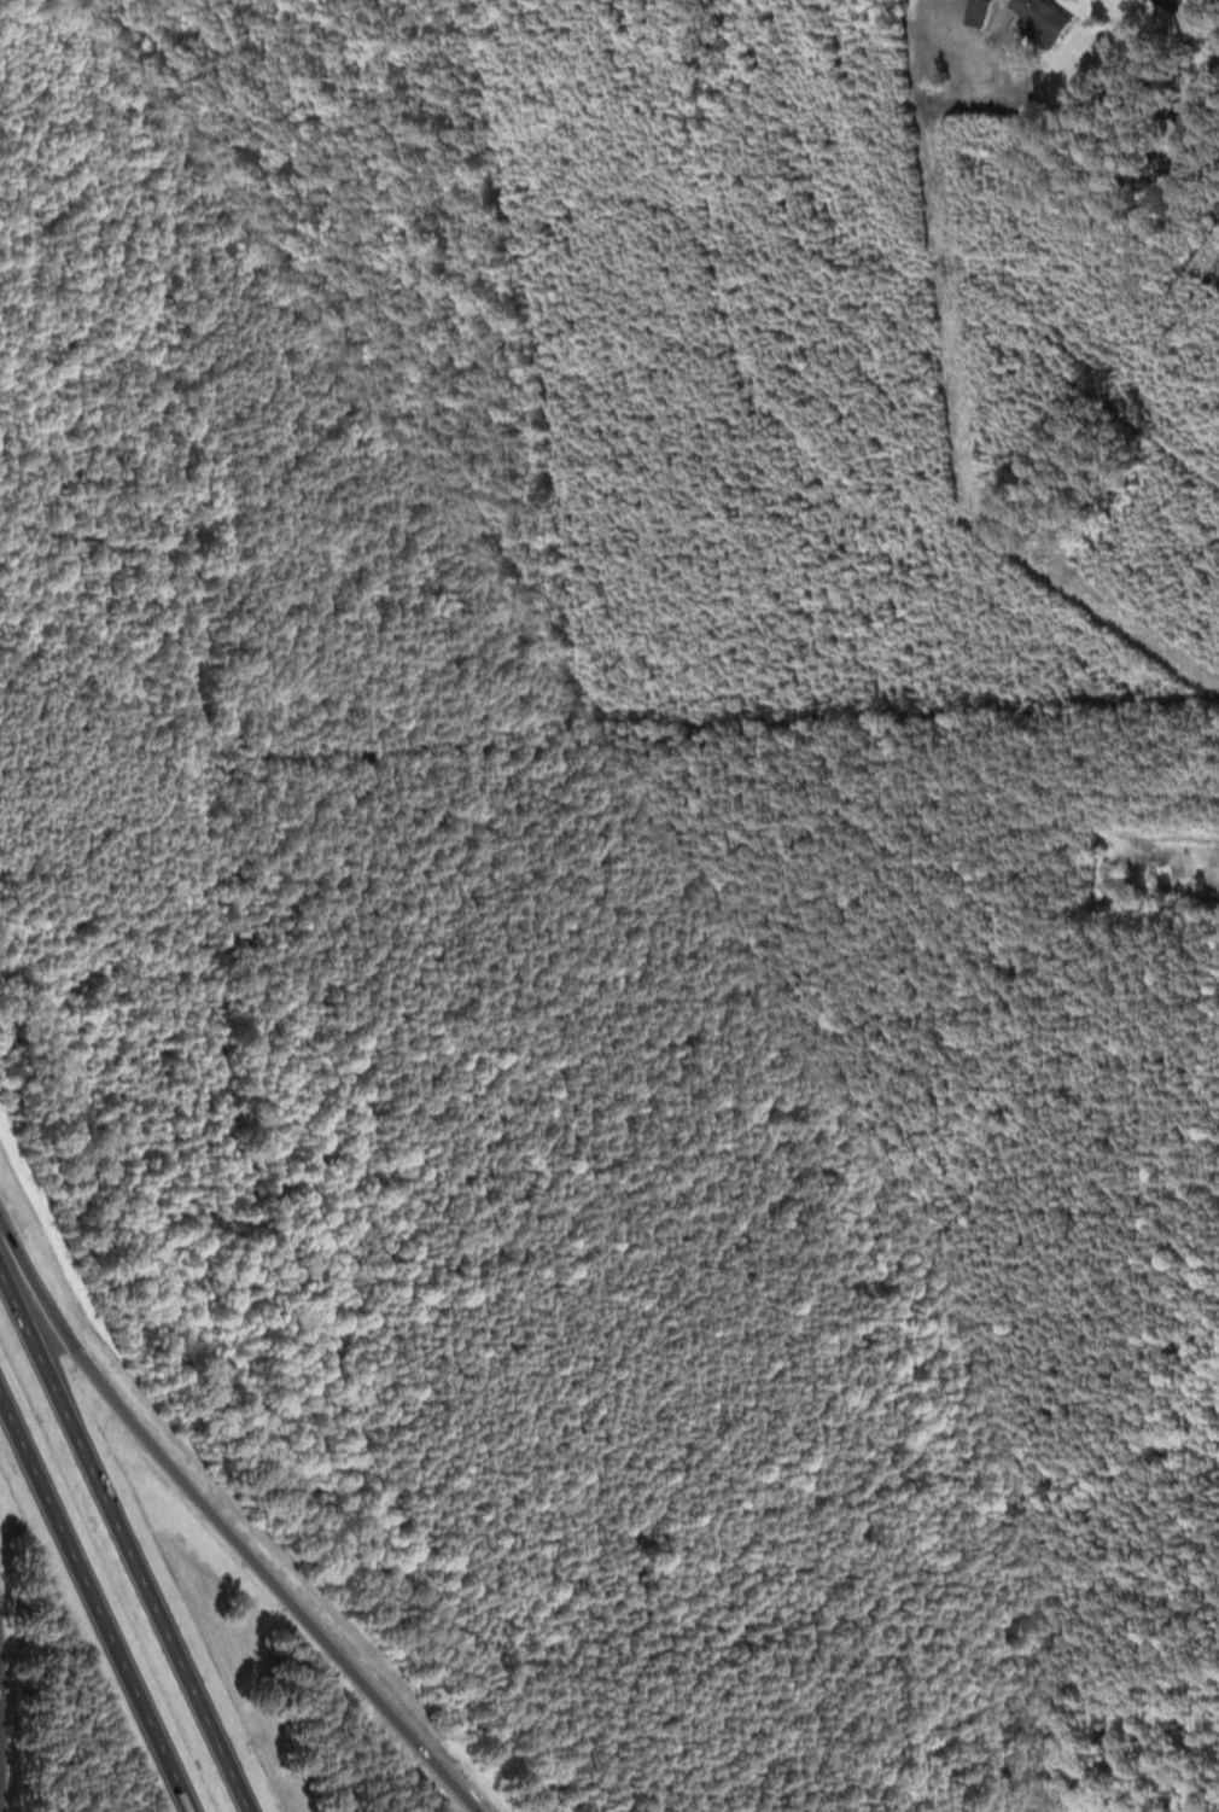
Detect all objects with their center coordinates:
building: (978, 10)
road: (1191, 19)
building: (1045, 21)
building: (967, 66)
road: (980, 432)
road: (223, 1526)
road: (123, 1540)
road: (95, 1602)

